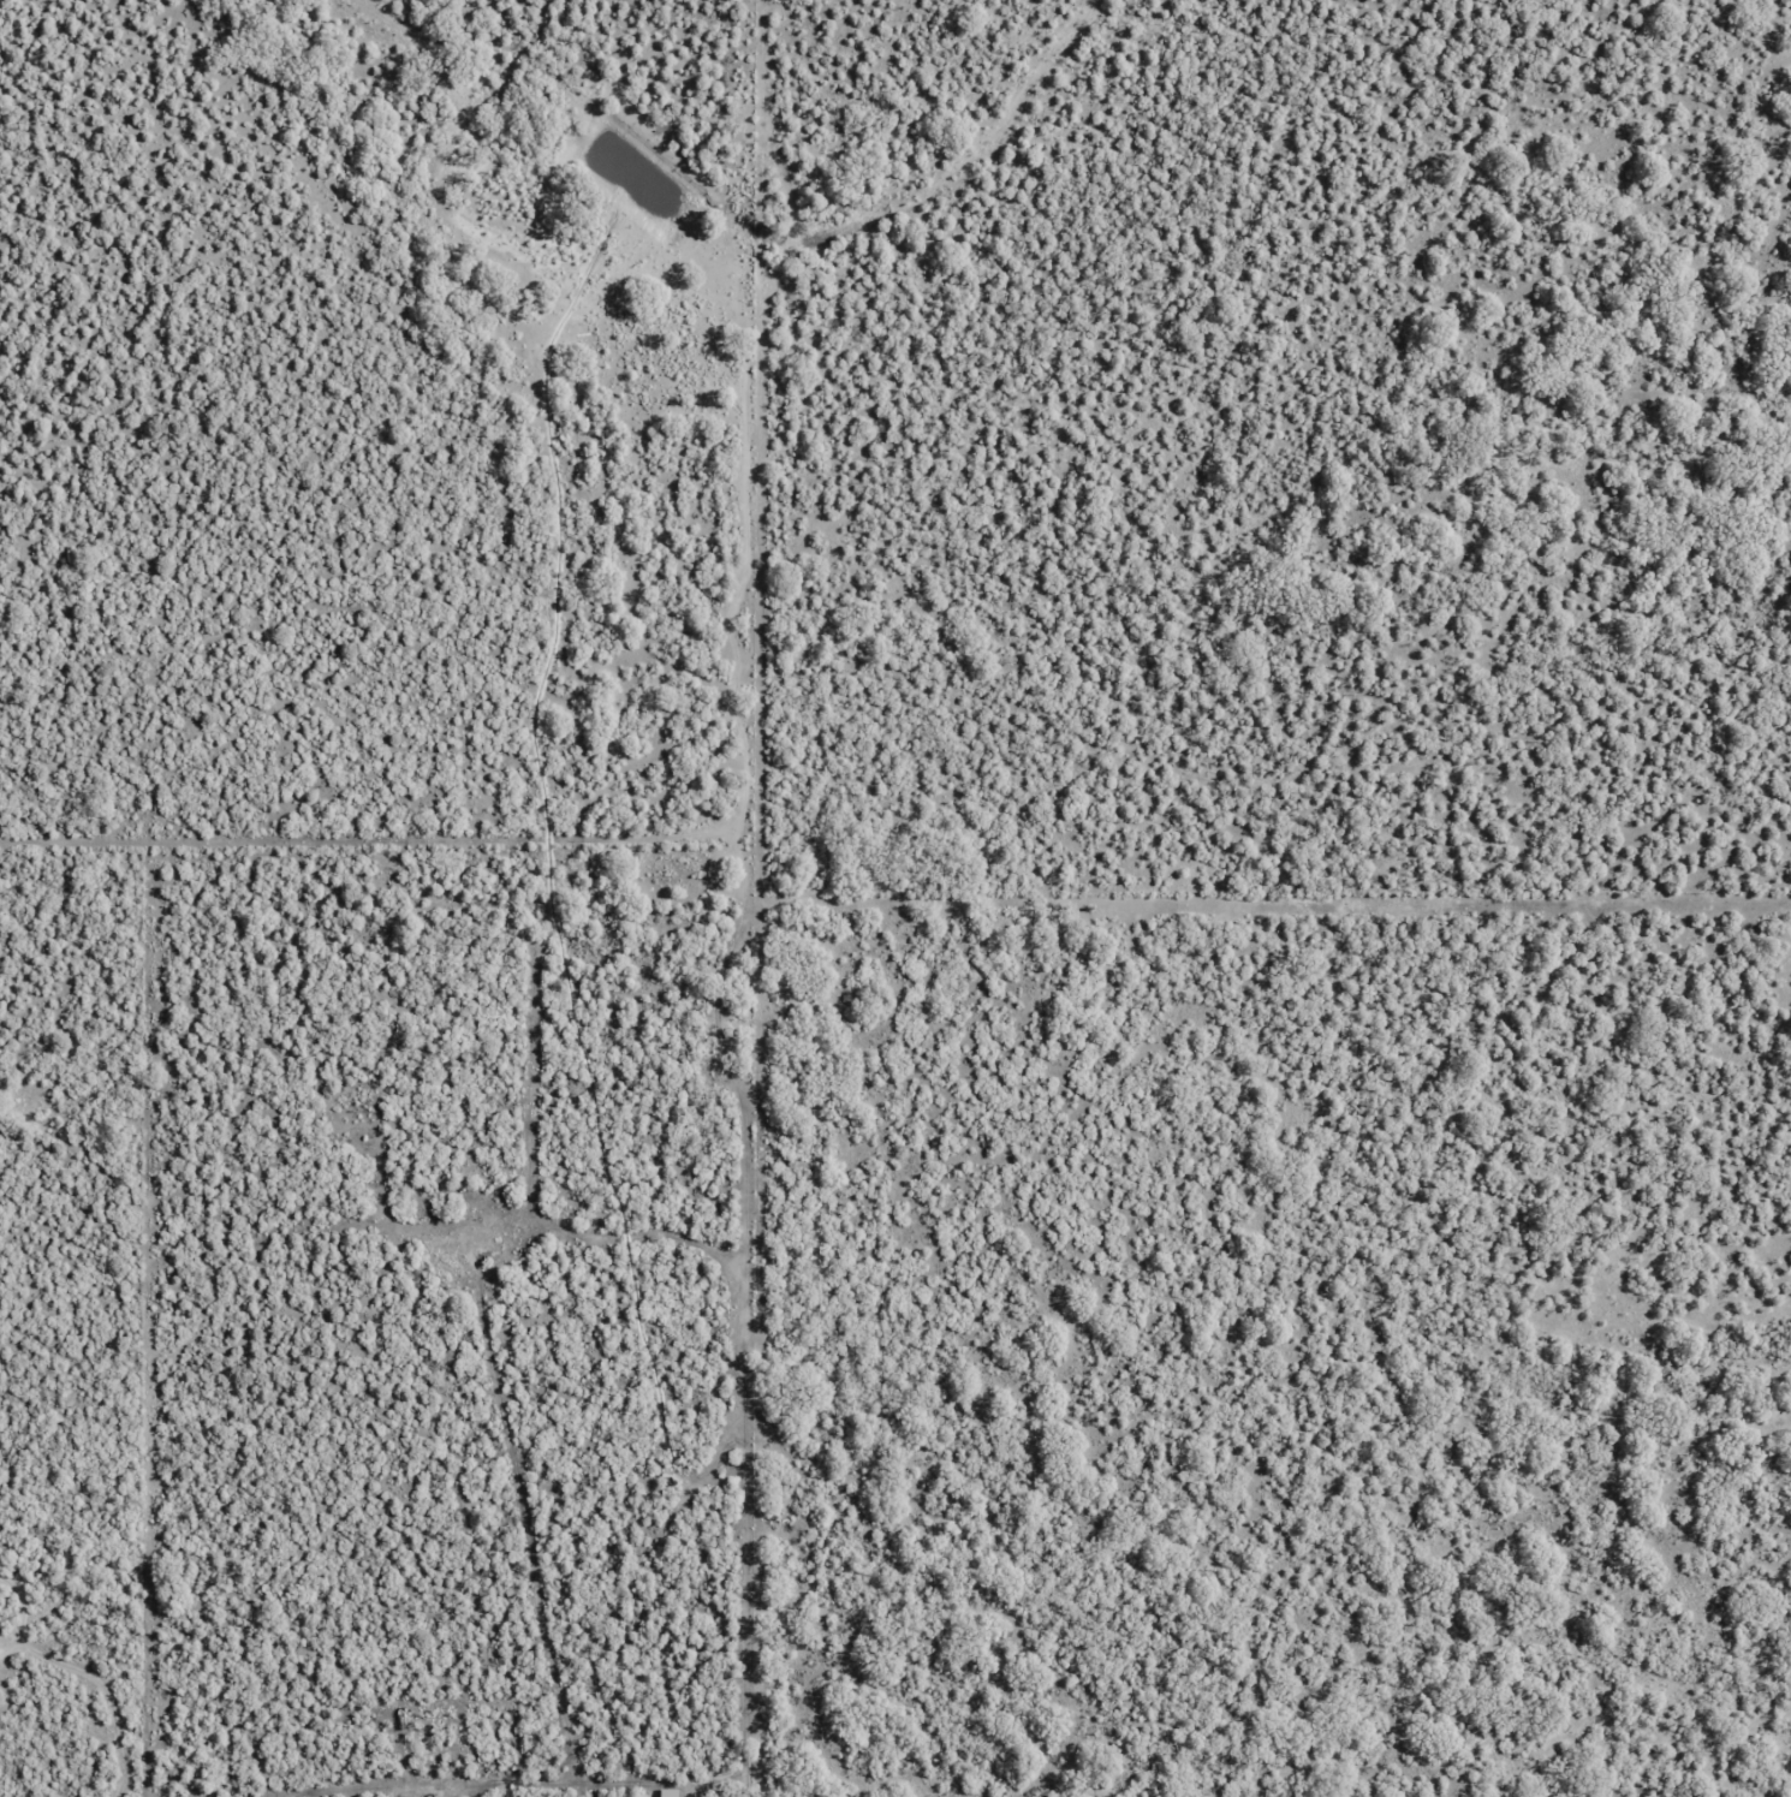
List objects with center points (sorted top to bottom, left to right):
building: (668, 1792)

